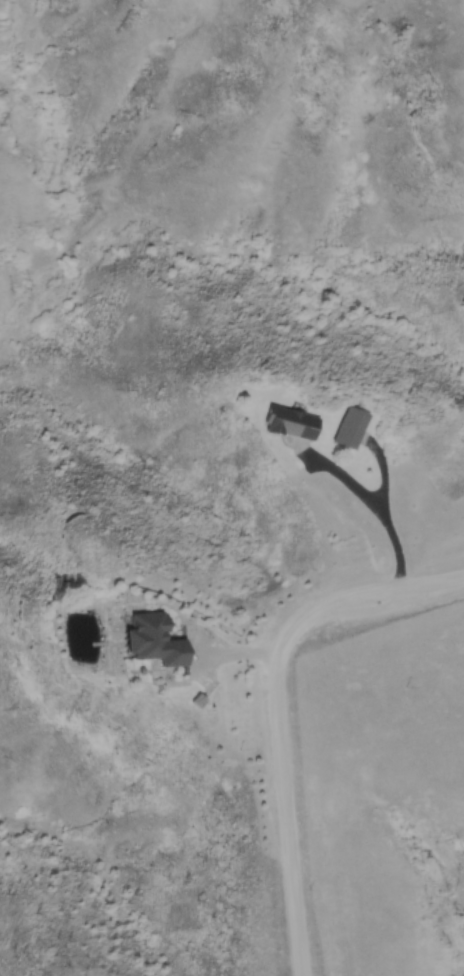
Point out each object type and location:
building: (287, 421)
building: (350, 427)
road: (394, 550)
building: (152, 638)
road: (200, 649)
road: (279, 714)

